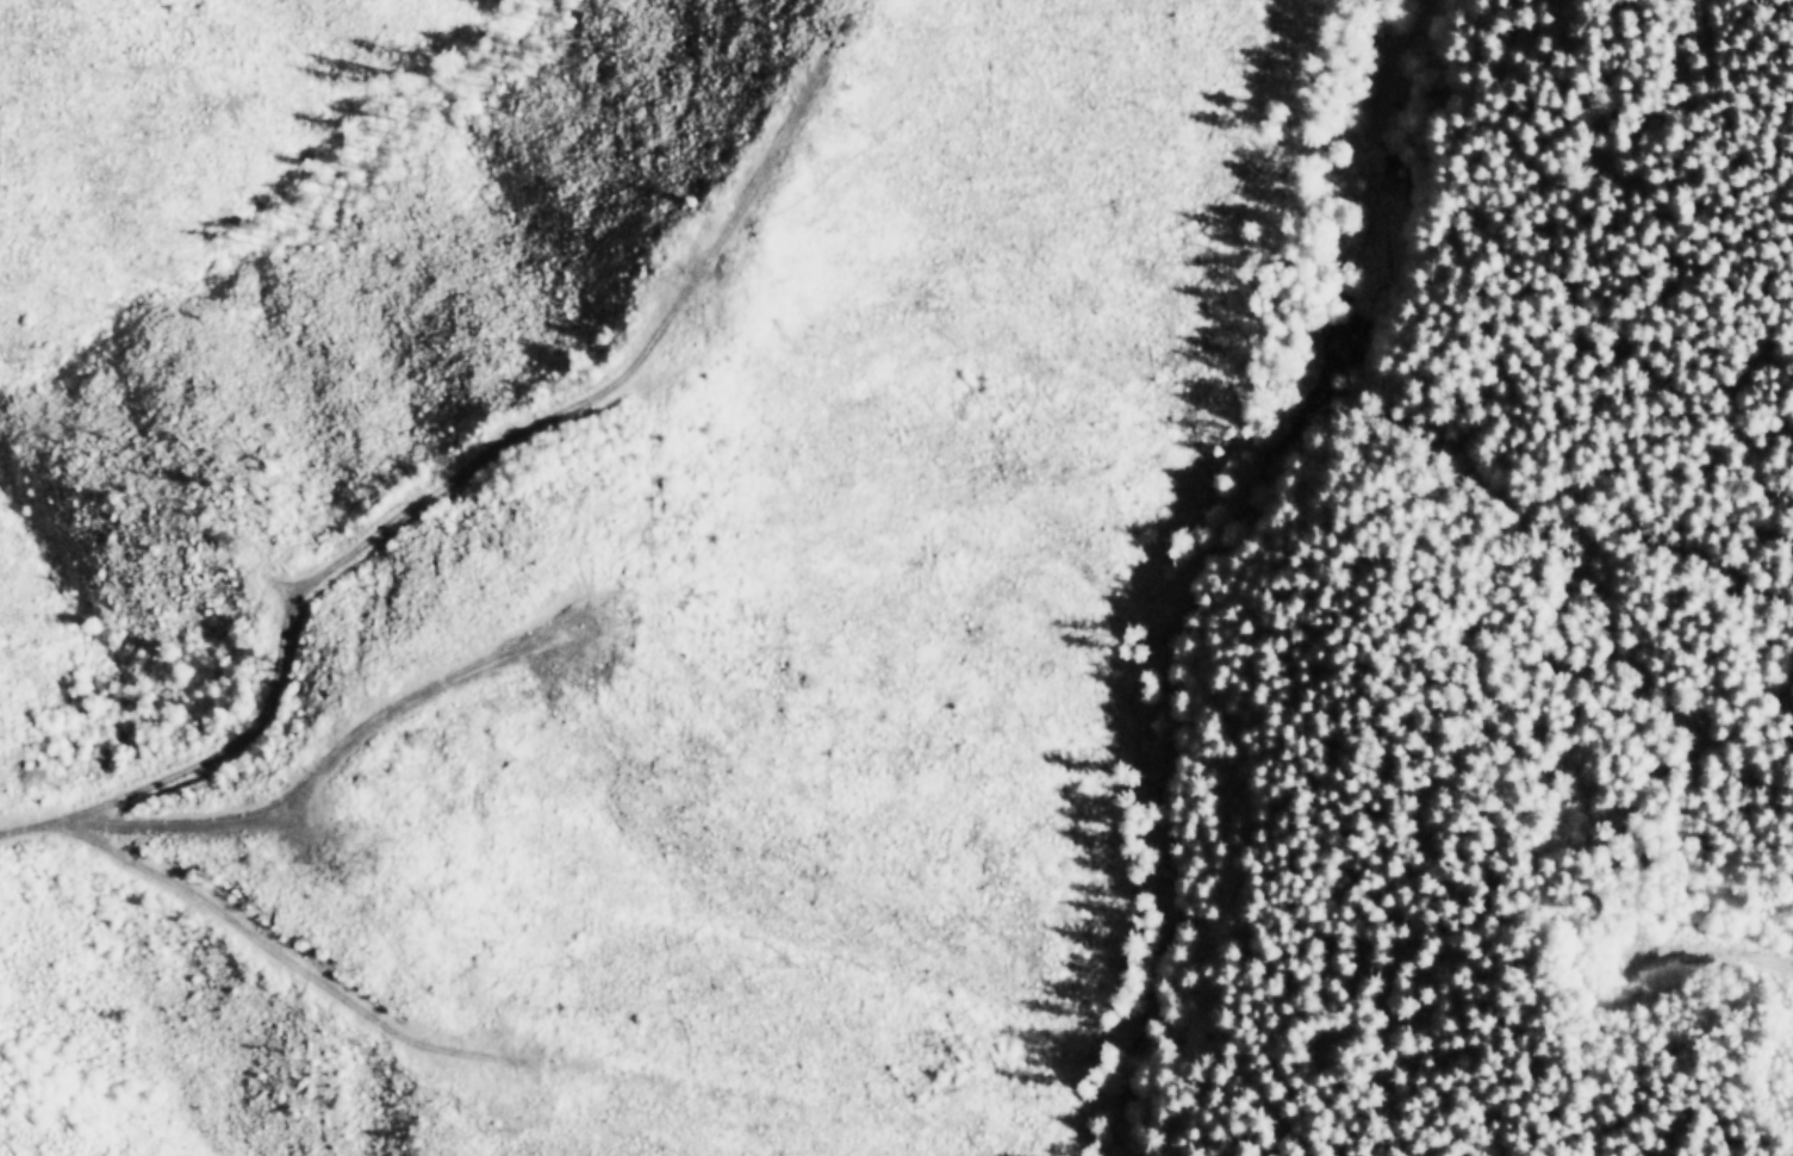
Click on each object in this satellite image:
road: (122, 829)

